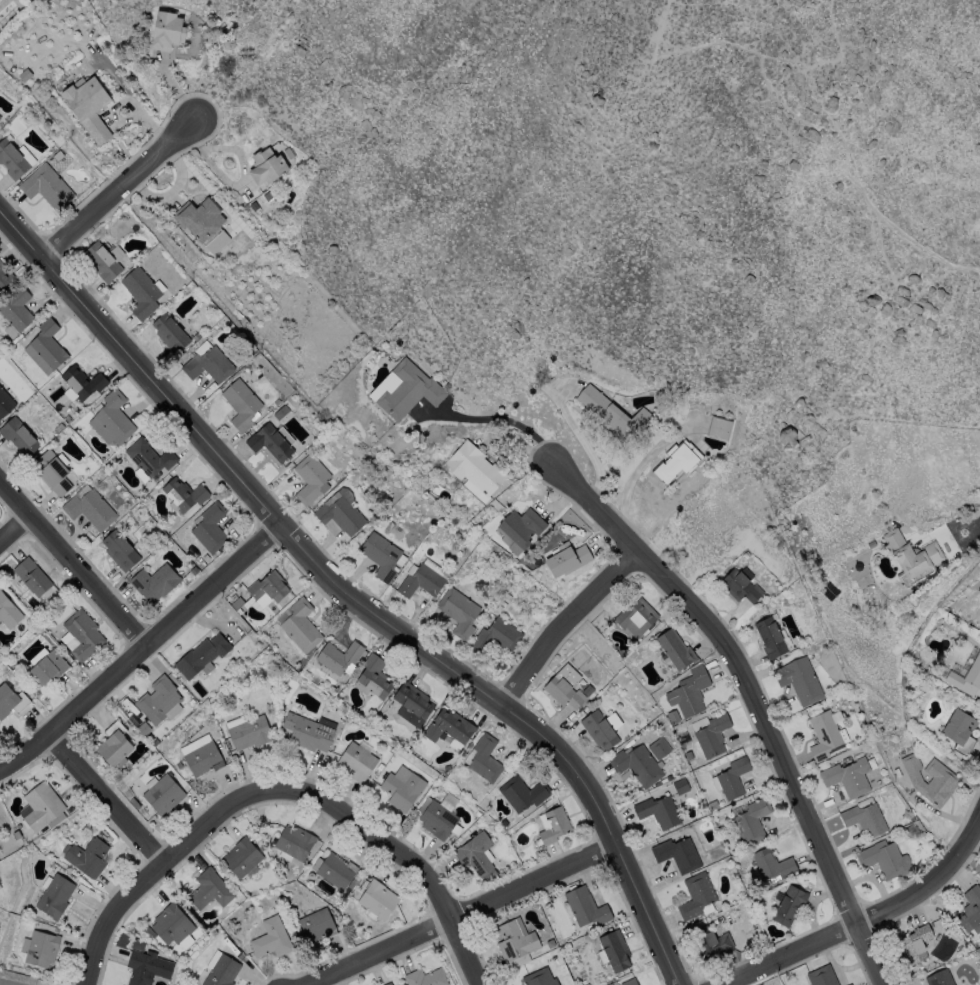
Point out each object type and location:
building: (167, 30)
road: (813, 99)
building: (87, 105)
building: (12, 157)
building: (266, 166)
building: (45, 186)
road: (118, 189)
building: (200, 218)
building: (102, 260)
building: (4, 276)
building: (140, 292)
building: (15, 308)
building: (169, 332)
building: (45, 347)
building: (207, 363)
road: (854, 377)
building: (83, 383)
building: (409, 391)
building: (5, 402)
building: (241, 403)
building: (612, 415)
road: (495, 418)
building: (111, 419)
building: (719, 428)
building: (18, 436)
road: (583, 441)
building: (269, 442)
building: (148, 457)
building: (678, 461)
road: (638, 464)
building: (475, 471)
building: (52, 472)
building: (183, 494)
building: (89, 509)
building: (339, 511)
road: (964, 524)
building: (208, 527)
building: (523, 527)
road: (15, 532)
building: (871, 544)
building: (119, 549)
building: (380, 555)
building: (746, 555)
building: (567, 559)
building: (913, 559)
building: (540, 561)
road: (72, 563)
building: (724, 573)
building: (31, 576)
building: (153, 582)
building: (422, 582)
building: (741, 587)
building: (267, 588)
road: (351, 597)
building: (508, 597)
building: (503, 604)
building: (499, 609)
building: (8, 612)
building: (459, 612)
building: (637, 618)
road: (561, 621)
building: (299, 625)
building: (80, 635)
building: (498, 636)
building: (771, 639)
road: (139, 649)
building: (676, 650)
building: (201, 655)
building: (338, 657)
building: (47, 667)
building: (609, 674)
building: (373, 676)
building: (968, 679)
building: (800, 681)
building: (565, 687)
building: (690, 692)
road: (751, 696)
building: (10, 699)
building: (158, 701)
building: (413, 705)
building: (674, 717)
building: (613, 720)
building: (450, 727)
building: (959, 727)
building: (600, 730)
building: (308, 731)
building: (248, 732)
building: (824, 735)
building: (713, 736)
building: (113, 748)
building: (660, 748)
building: (200, 755)
building: (690, 755)
building: (486, 759)
building: (355, 761)
building: (638, 766)
building: (447, 768)
building: (897, 772)
building: (848, 777)
building: (734, 779)
building: (931, 780)
building: (661, 782)
building: (681, 786)
building: (403, 791)
building: (161, 793)
building: (524, 793)
road: (108, 798)
building: (39, 805)
building: (713, 806)
building: (659, 812)
building: (478, 814)
building: (865, 819)
building: (438, 820)
building: (752, 821)
road: (354, 822)
building: (505, 823)
building: (555, 826)
building: (293, 841)
building: (678, 855)
building: (86, 856)
building: (477, 856)
building: (241, 858)
building: (885, 859)
building: (774, 865)
building: (334, 870)
building: (208, 889)
building: (54, 895)
building: (697, 896)
building: (379, 900)
building: (790, 905)
building: (586, 907)
building: (971, 910)
road: (459, 912)
road: (113, 916)
road: (863, 918)
building: (168, 925)
building: (314, 925)
building: (270, 938)
building: (516, 941)
building: (711, 941)
building: (916, 944)
building: (39, 948)
building: (615, 950)
building: (220, 969)
building: (822, 976)
building: (426, 977)
building: (540, 978)
building: (940, 978)
building: (630, 982)
road: (7, 983)
building: (389, 984)
building: (848, 984)
building: (851, 984)

